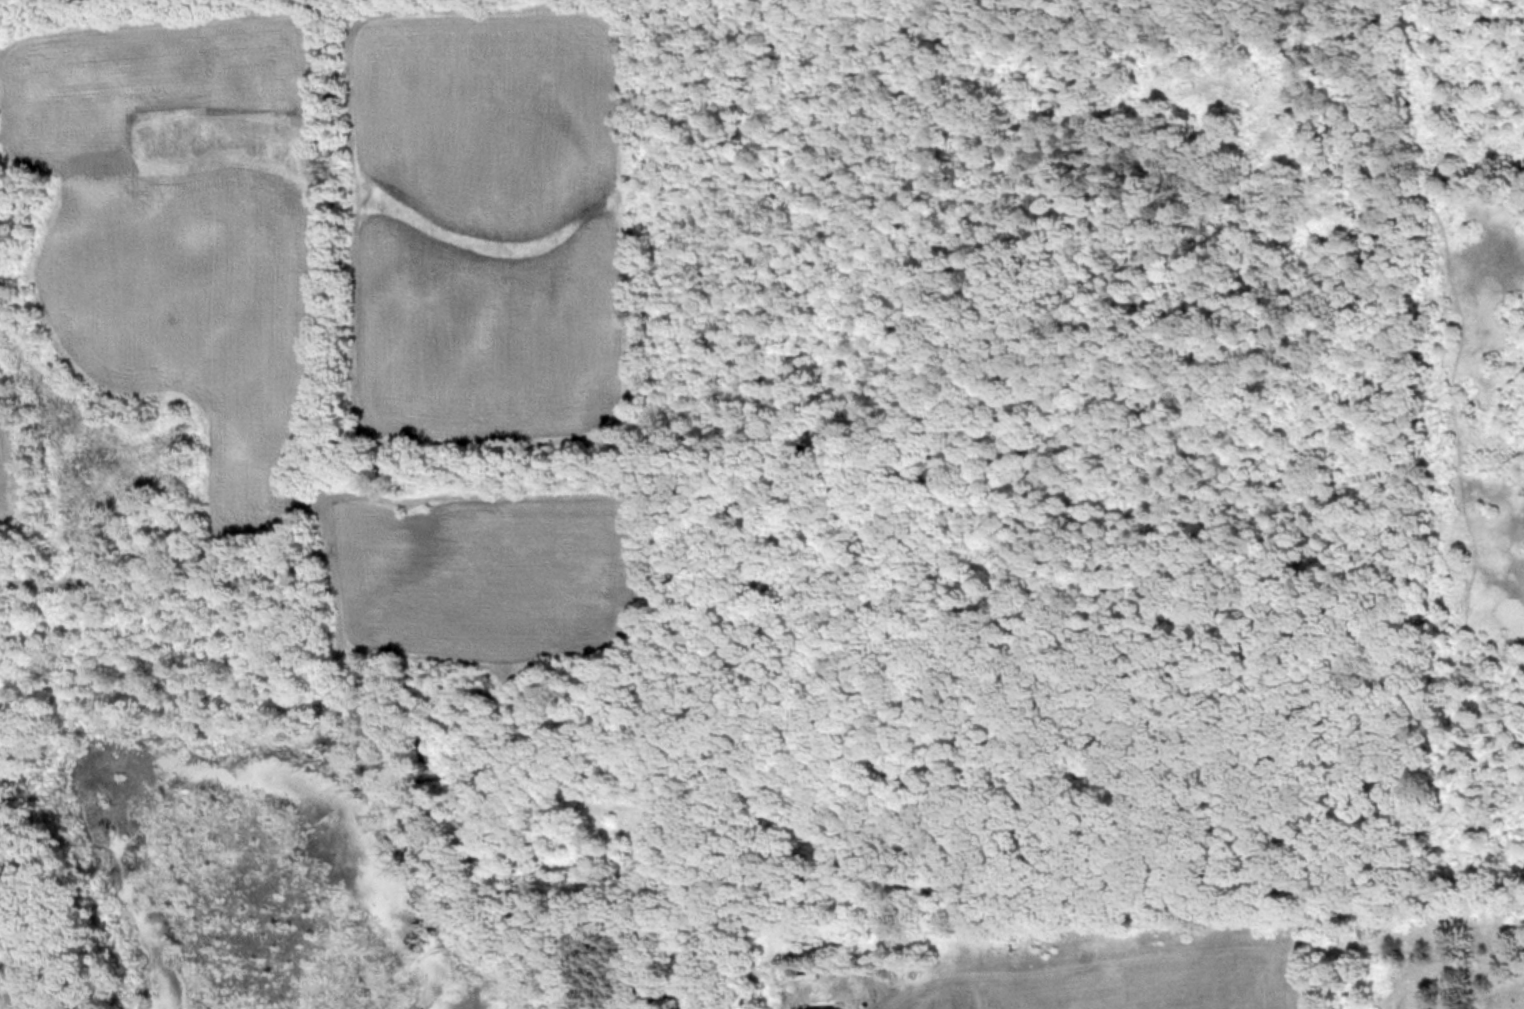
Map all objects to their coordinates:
park: (210, 4)
park: (1243, 439)
road: (149, 541)
building: (825, 1007)

